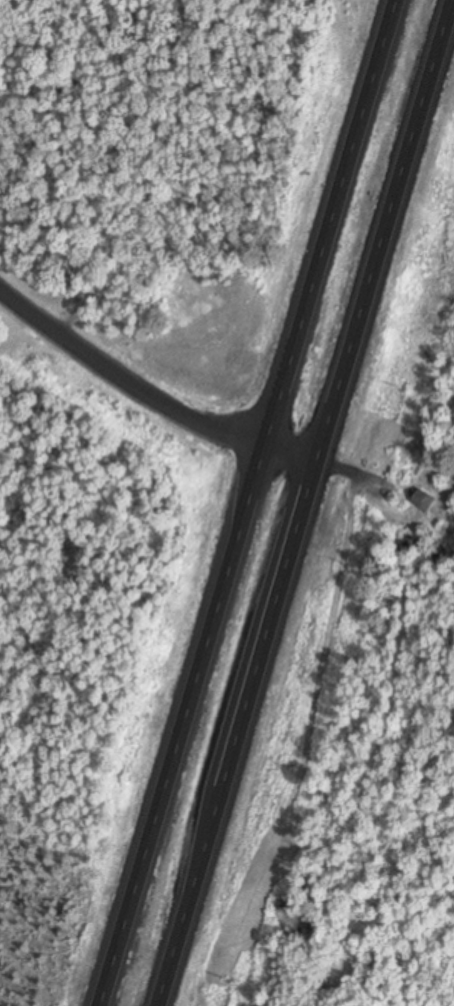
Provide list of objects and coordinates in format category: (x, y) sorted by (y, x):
road: (385, 230)
road: (148, 392)
road: (354, 471)
road: (246, 503)
building: (425, 503)
road: (259, 661)
road: (179, 934)

